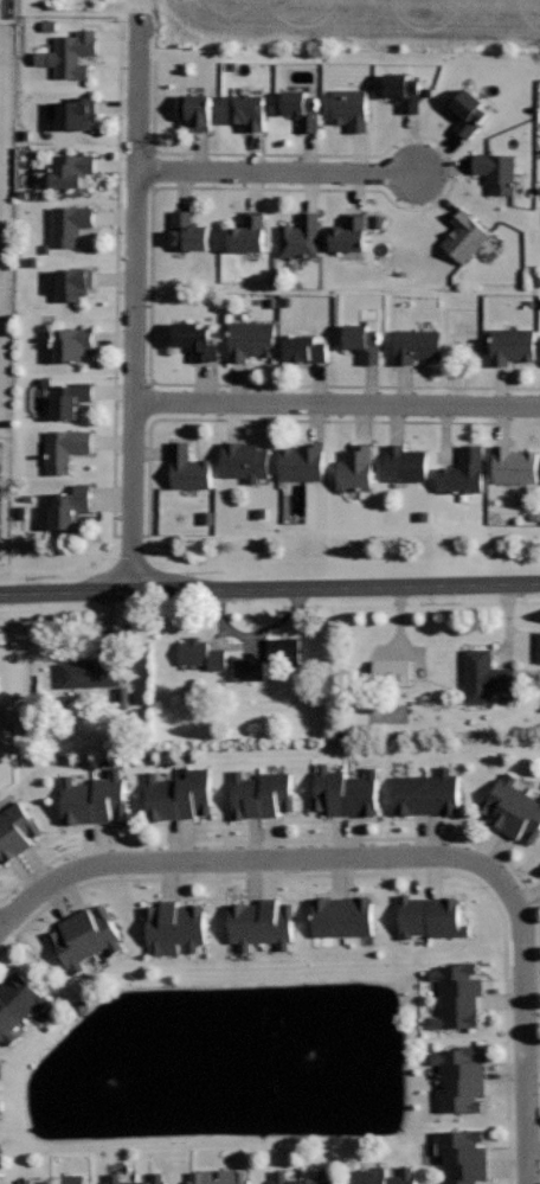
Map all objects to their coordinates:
building: (73, 53)
road: (139, 91)
building: (404, 91)
building: (352, 108)
building: (250, 109)
building: (302, 109)
building: (197, 110)
building: (78, 111)
building: (468, 111)
building: (71, 168)
building: (497, 171)
road: (277, 172)
building: (70, 224)
building: (189, 232)
building: (249, 232)
building: (351, 232)
building: (301, 236)
building: (465, 236)
building: (73, 282)
park: (7, 299)
building: (197, 339)
building: (251, 339)
building: (365, 339)
building: (73, 343)
building: (417, 345)
building: (512, 345)
building: (304, 347)
road: (134, 382)
building: (70, 398)
road: (336, 404)
building: (65, 448)
building: (245, 460)
building: (302, 462)
building: (406, 462)
building: (515, 465)
building: (188, 467)
building: (356, 468)
building: (464, 472)
parking lot: (7, 506)
building: (71, 506)
road: (269, 589)
building: (202, 653)
building: (271, 660)
building: (90, 673)
building: (396, 673)
building: (486, 676)
building: (345, 791)
building: (427, 792)
building: (262, 793)
building: (179, 794)
building: (94, 796)
building: (512, 808)
building: (17, 830)
road: (398, 857)
building: (431, 915)
building: (343, 916)
building: (262, 922)
building: (175, 926)
building: (84, 936)
building: (458, 994)
building: (18, 1003)
building: (462, 1079)
building: (1, 1103)
building: (463, 1156)
building: (324, 1175)
building: (112, 1176)
building: (382, 1176)
building: (220, 1177)
building: (77, 1179)
building: (26, 1180)

